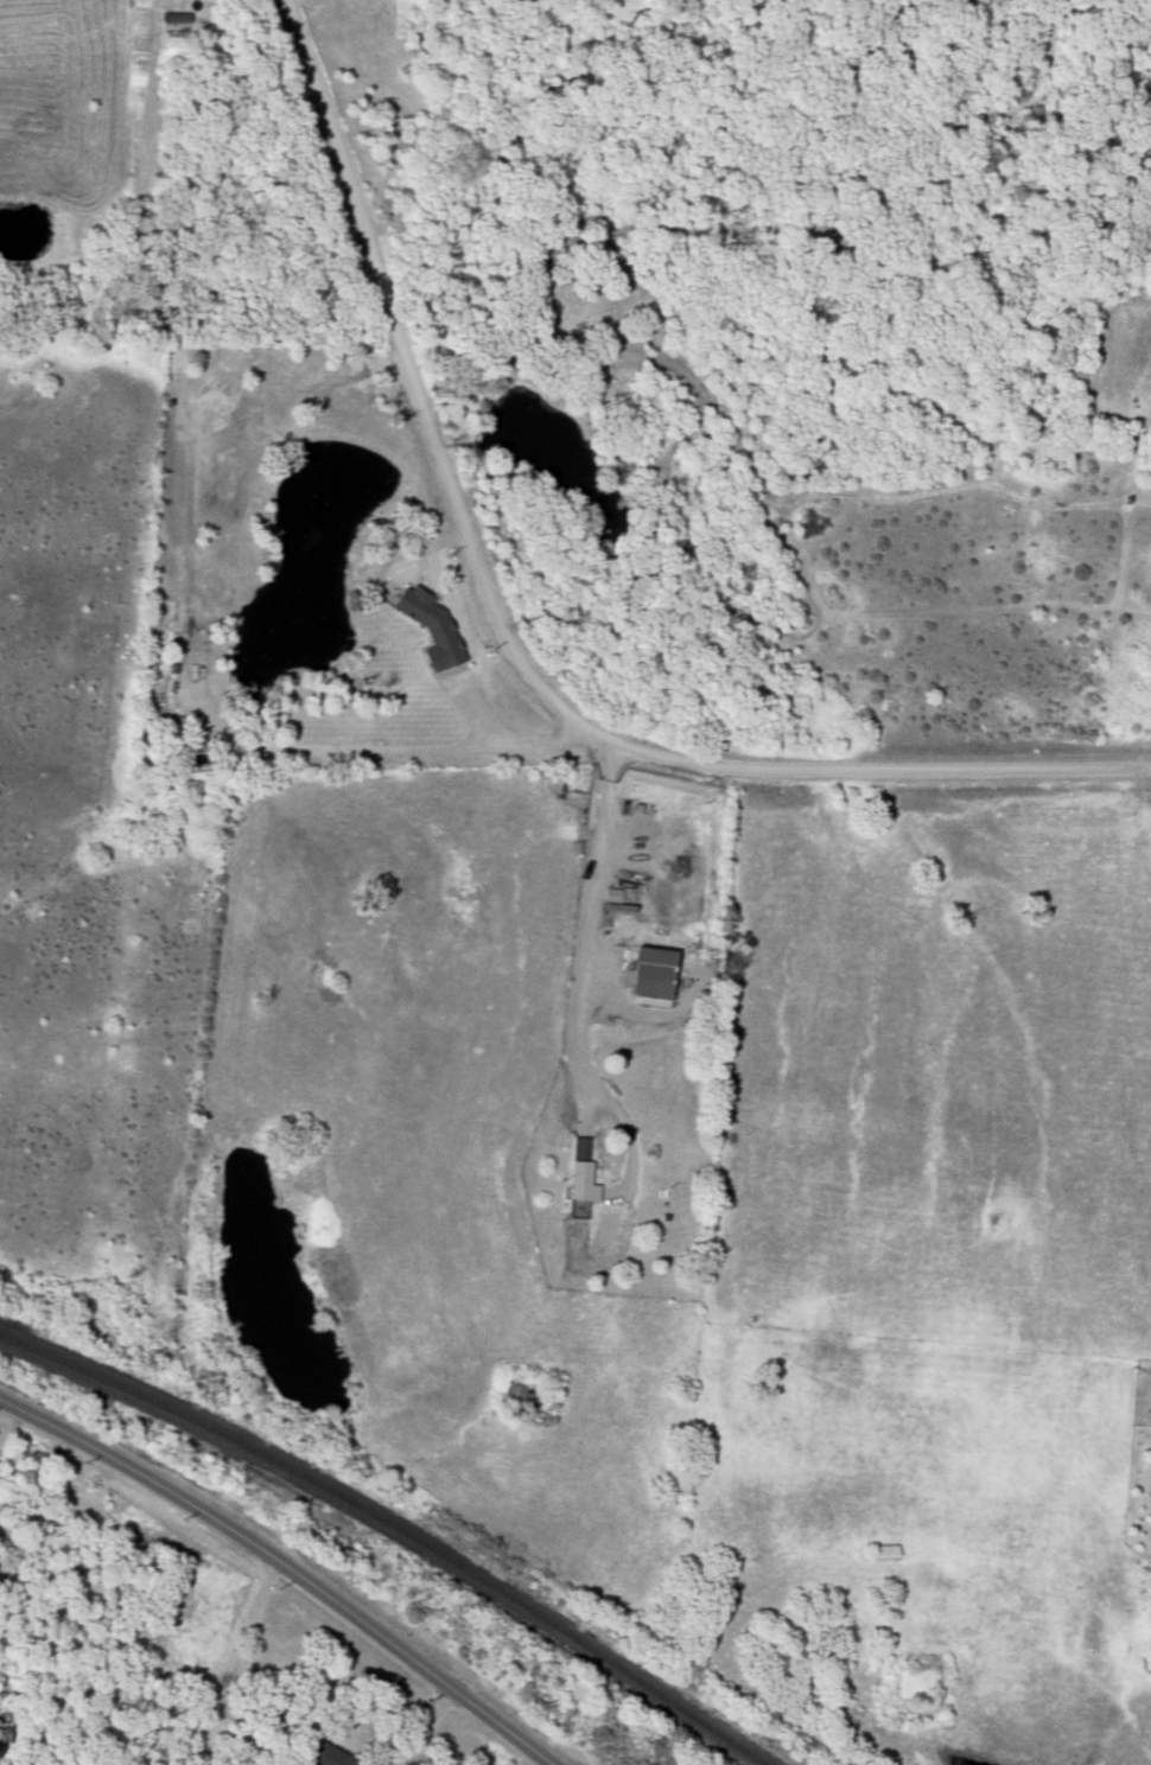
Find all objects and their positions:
road: (411, 374)
building: (418, 606)
road: (413, 747)
road: (860, 771)
road: (1149, 804)
building: (649, 974)
road: (581, 988)
building: (578, 1170)
building: (1150, 1496)
railway: (393, 1528)
building: (879, 1551)
road: (282, 1568)
road: (230, 1659)
road: (421, 1729)
building: (330, 1756)

